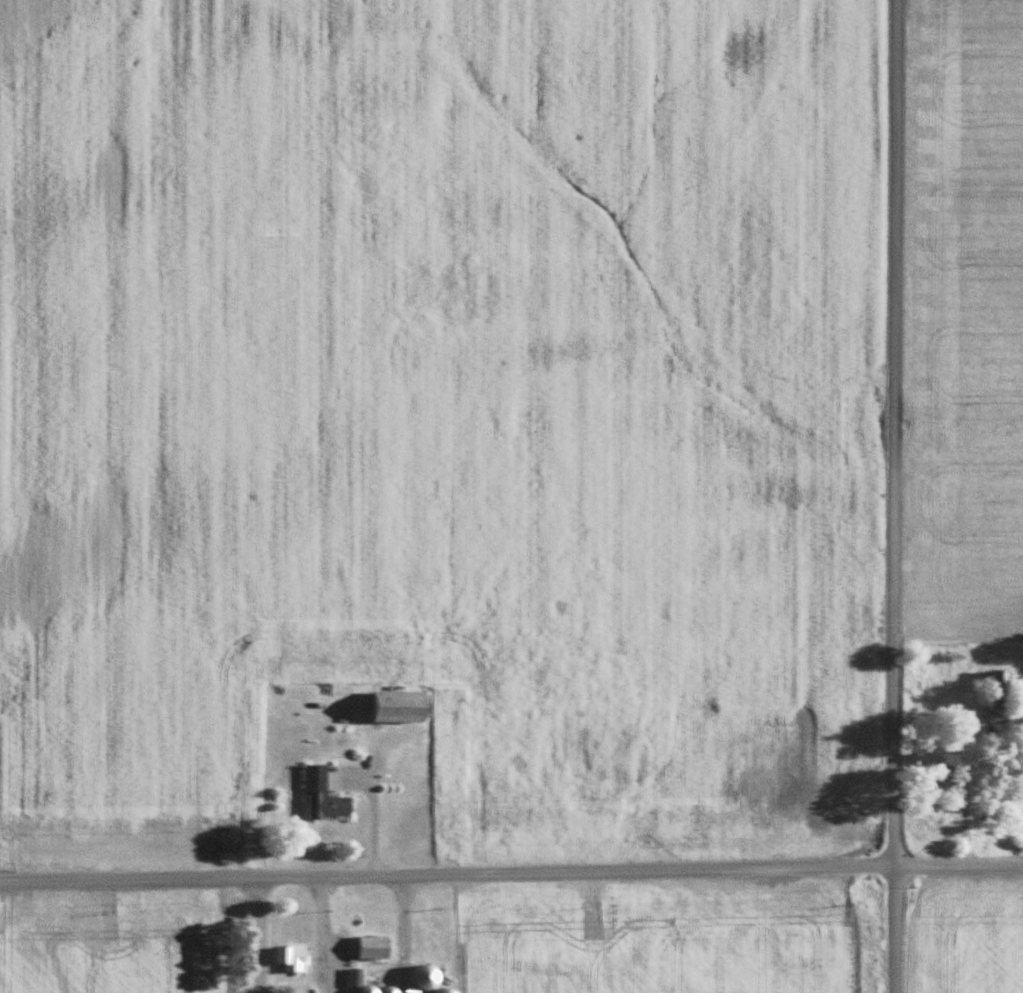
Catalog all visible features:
road: (892, 496)
building: (998, 687)
building: (403, 707)
building: (999, 715)
building: (943, 780)
building: (324, 797)
road: (511, 873)
road: (251, 935)
road: (316, 936)
building: (375, 947)
building: (292, 958)
building: (355, 977)
building: (429, 977)
building: (447, 990)

